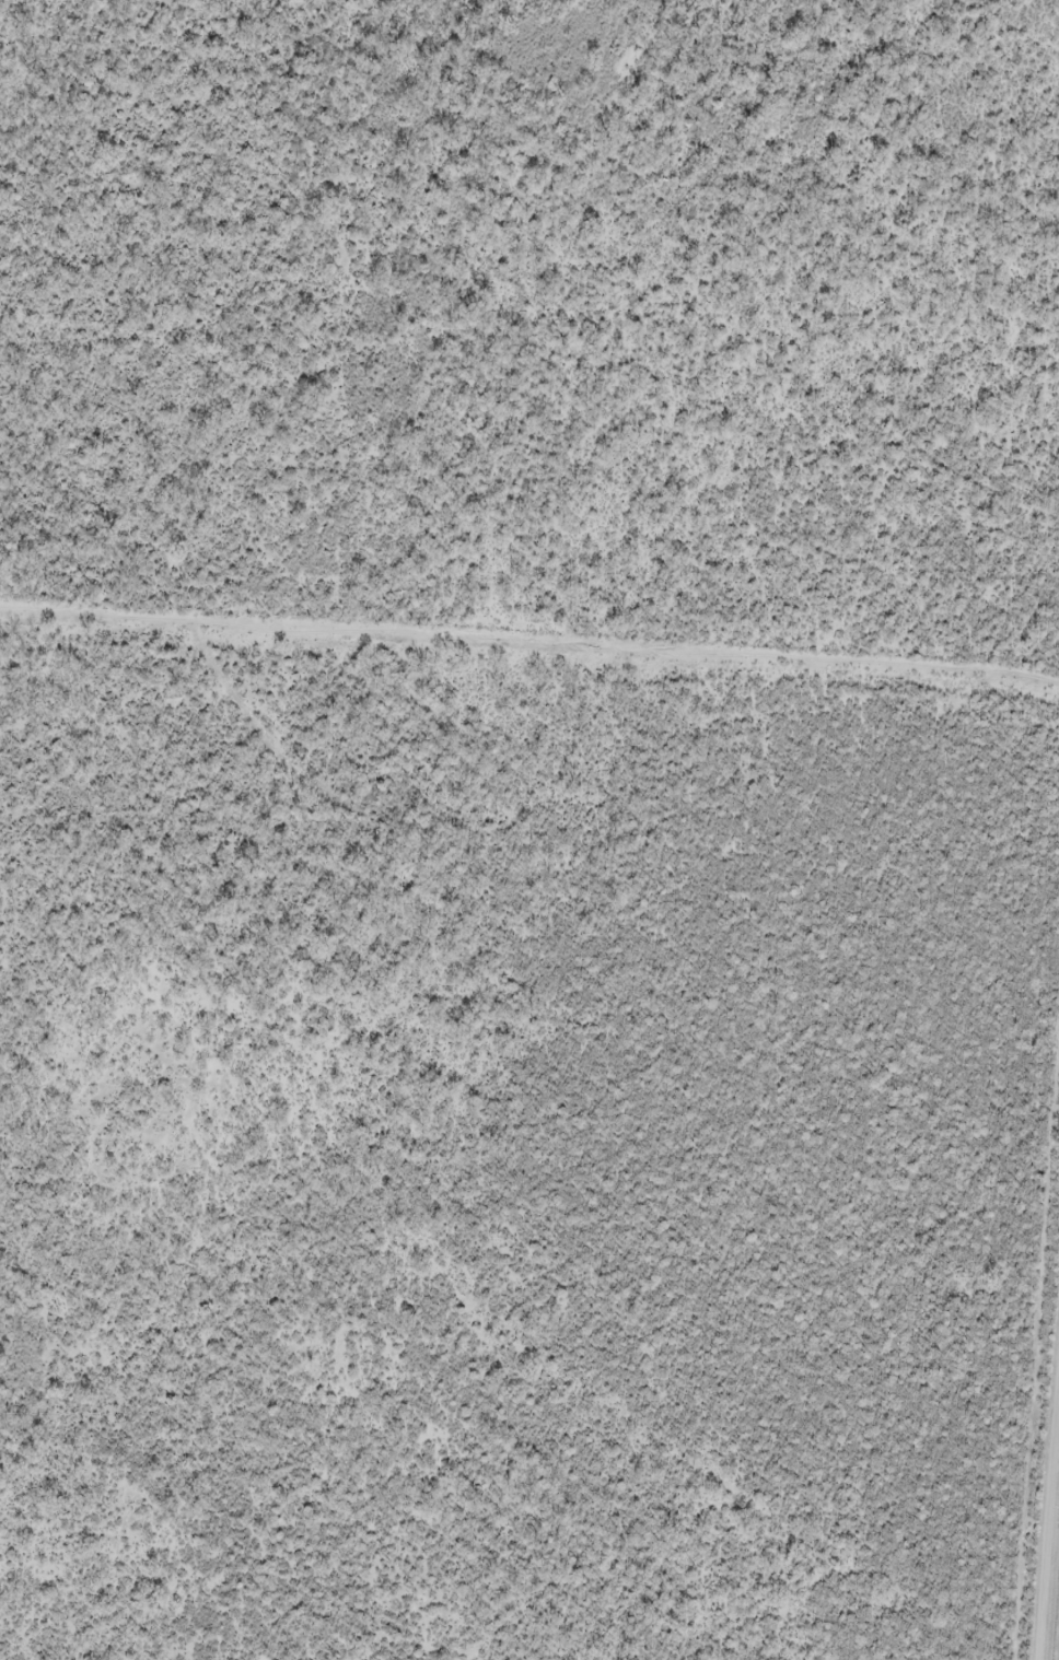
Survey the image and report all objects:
road: (1057, 1575)
road: (1054, 1591)

